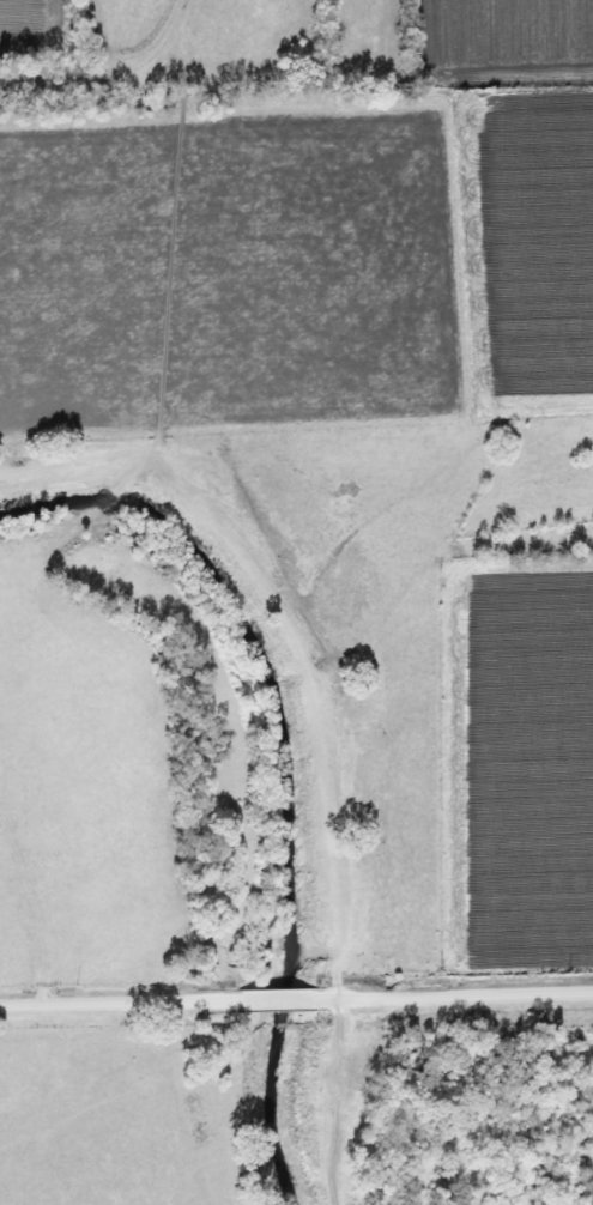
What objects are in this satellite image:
road: (107, 72)
road: (296, 995)

